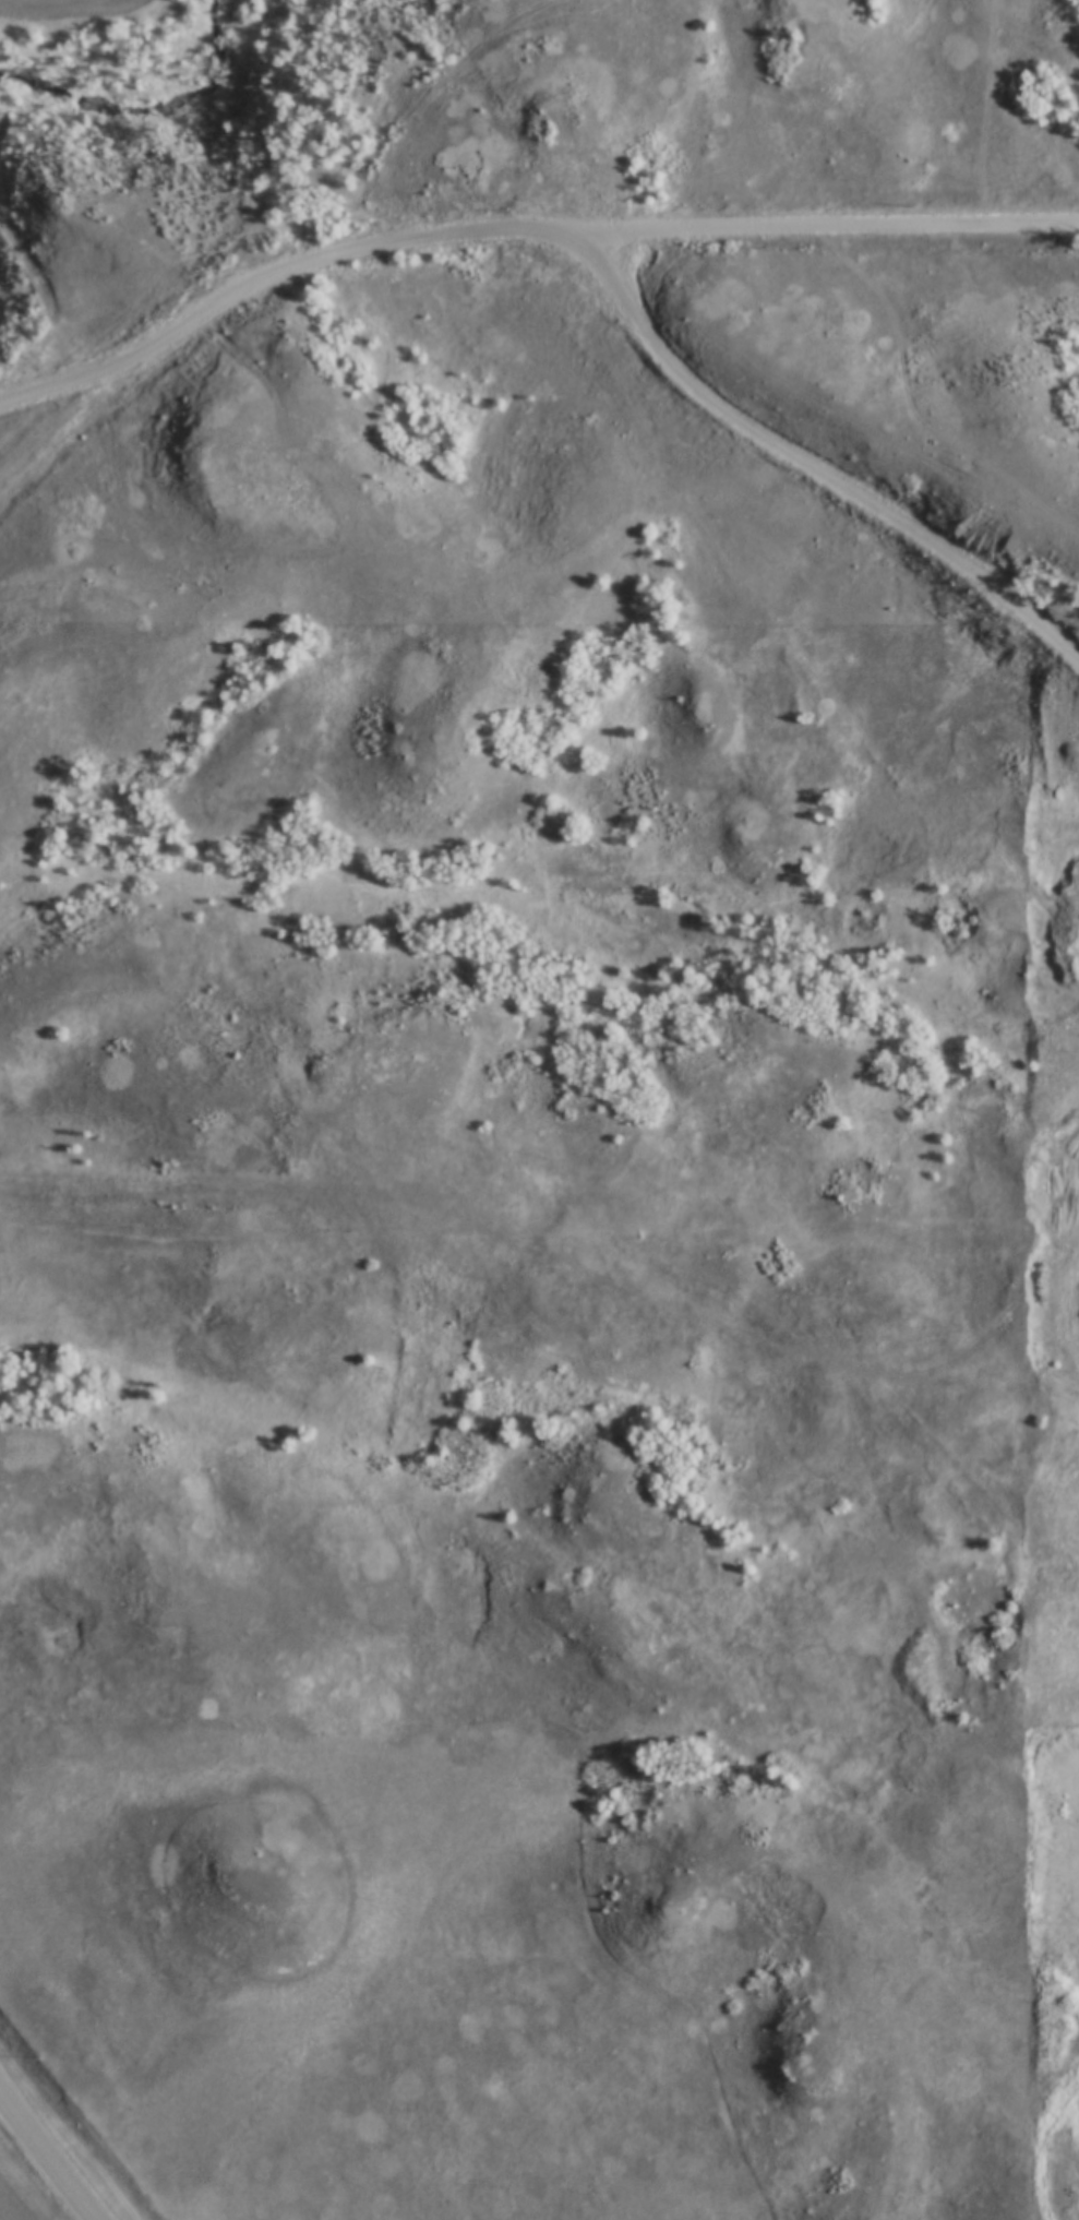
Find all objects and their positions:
road: (502, 225)
road: (571, 1267)
quarry: (1055, 1293)
road: (47, 2158)

